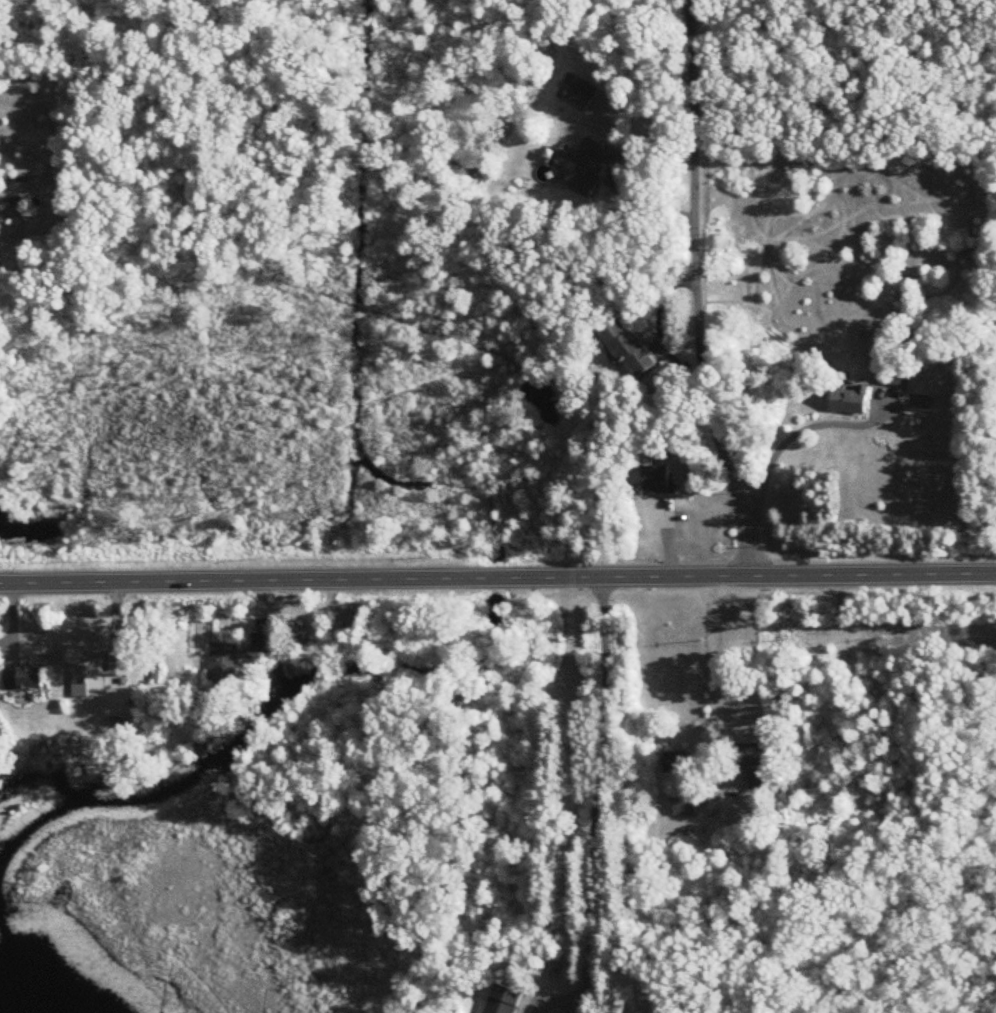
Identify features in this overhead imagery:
building: (582, 95)
building: (584, 165)
road: (699, 291)
building: (627, 348)
building: (896, 377)
building: (851, 401)
road: (777, 448)
road: (497, 579)
building: (263, 643)
building: (224, 663)
building: (96, 674)
building: (22, 678)
building: (756, 756)
road: (681, 797)
road: (597, 799)
building: (685, 802)
building: (503, 1000)

